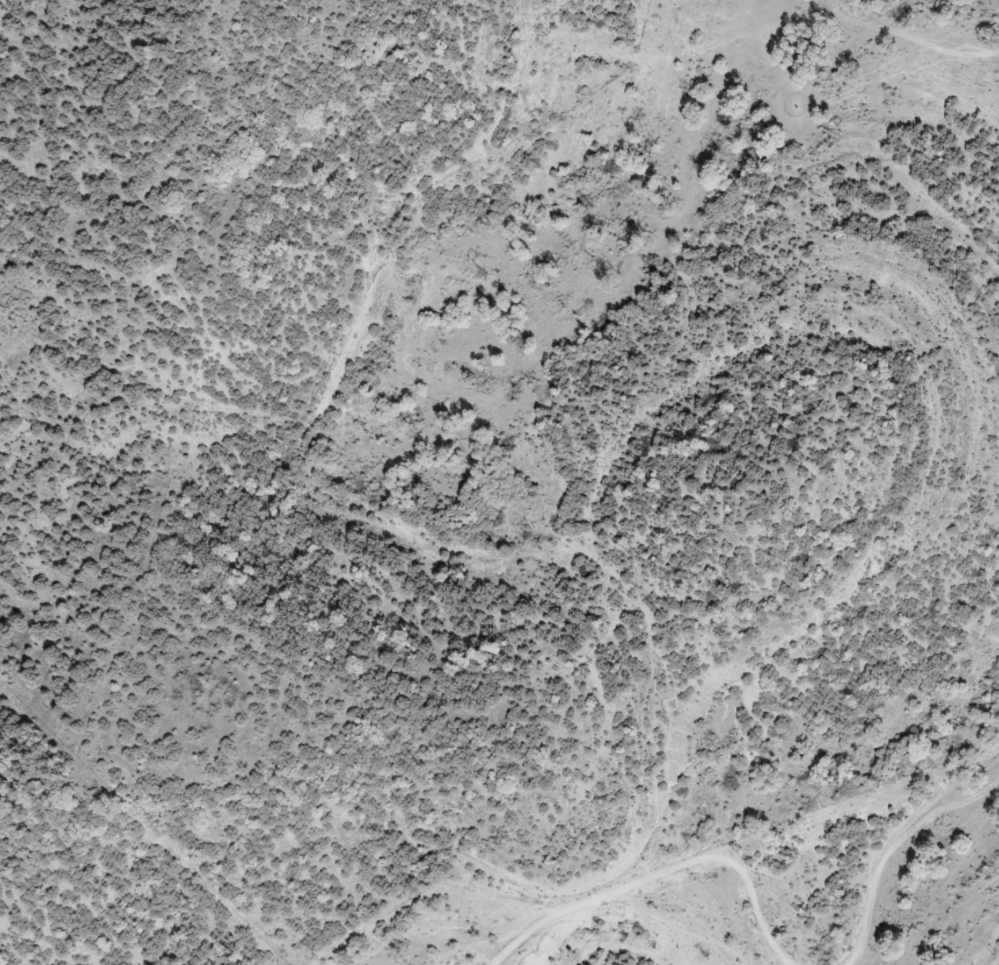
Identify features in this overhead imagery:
road: (894, 849)
road: (663, 877)

